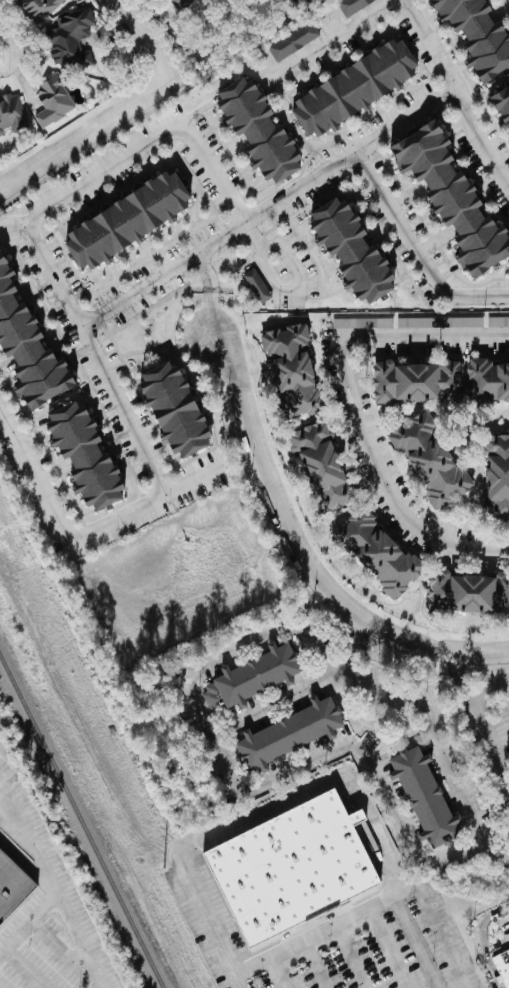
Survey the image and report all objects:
building: (182, 4)
building: (352, 5)
building: (39, 8)
building: (479, 34)
building: (73, 39)
road: (139, 39)
road: (337, 39)
building: (293, 40)
road: (429, 46)
building: (355, 88)
road: (450, 96)
building: (53, 100)
building: (503, 101)
building: (12, 114)
building: (260, 129)
road: (85, 133)
building: (456, 196)
road: (271, 206)
building: (130, 219)
road: (13, 224)
building: (355, 249)
road: (200, 250)
building: (257, 286)
road: (211, 292)
building: (498, 321)
building: (361, 322)
building: (440, 322)
building: (29, 344)
building: (293, 371)
building: (417, 381)
building: (487, 382)
building: (178, 408)
road: (361, 409)
building: (88, 455)
building: (430, 459)
road: (472, 465)
building: (322, 467)
road: (161, 474)
building: (497, 477)
building: (378, 552)
road: (302, 555)
building: (468, 593)
building: (253, 677)
road: (488, 688)
road: (276, 703)
road: (482, 722)
building: (288, 733)
road: (432, 738)
road: (236, 783)
road: (324, 783)
building: (425, 798)
railway: (80, 823)
building: (291, 868)
power tower: (163, 869)
road: (48, 882)
building: (12, 886)
road: (377, 908)
road: (211, 920)
parking lot: (330, 935)
road: (481, 940)
road: (77, 942)
road: (389, 950)
road: (349, 959)
road: (315, 966)
building: (502, 966)
road: (246, 970)

